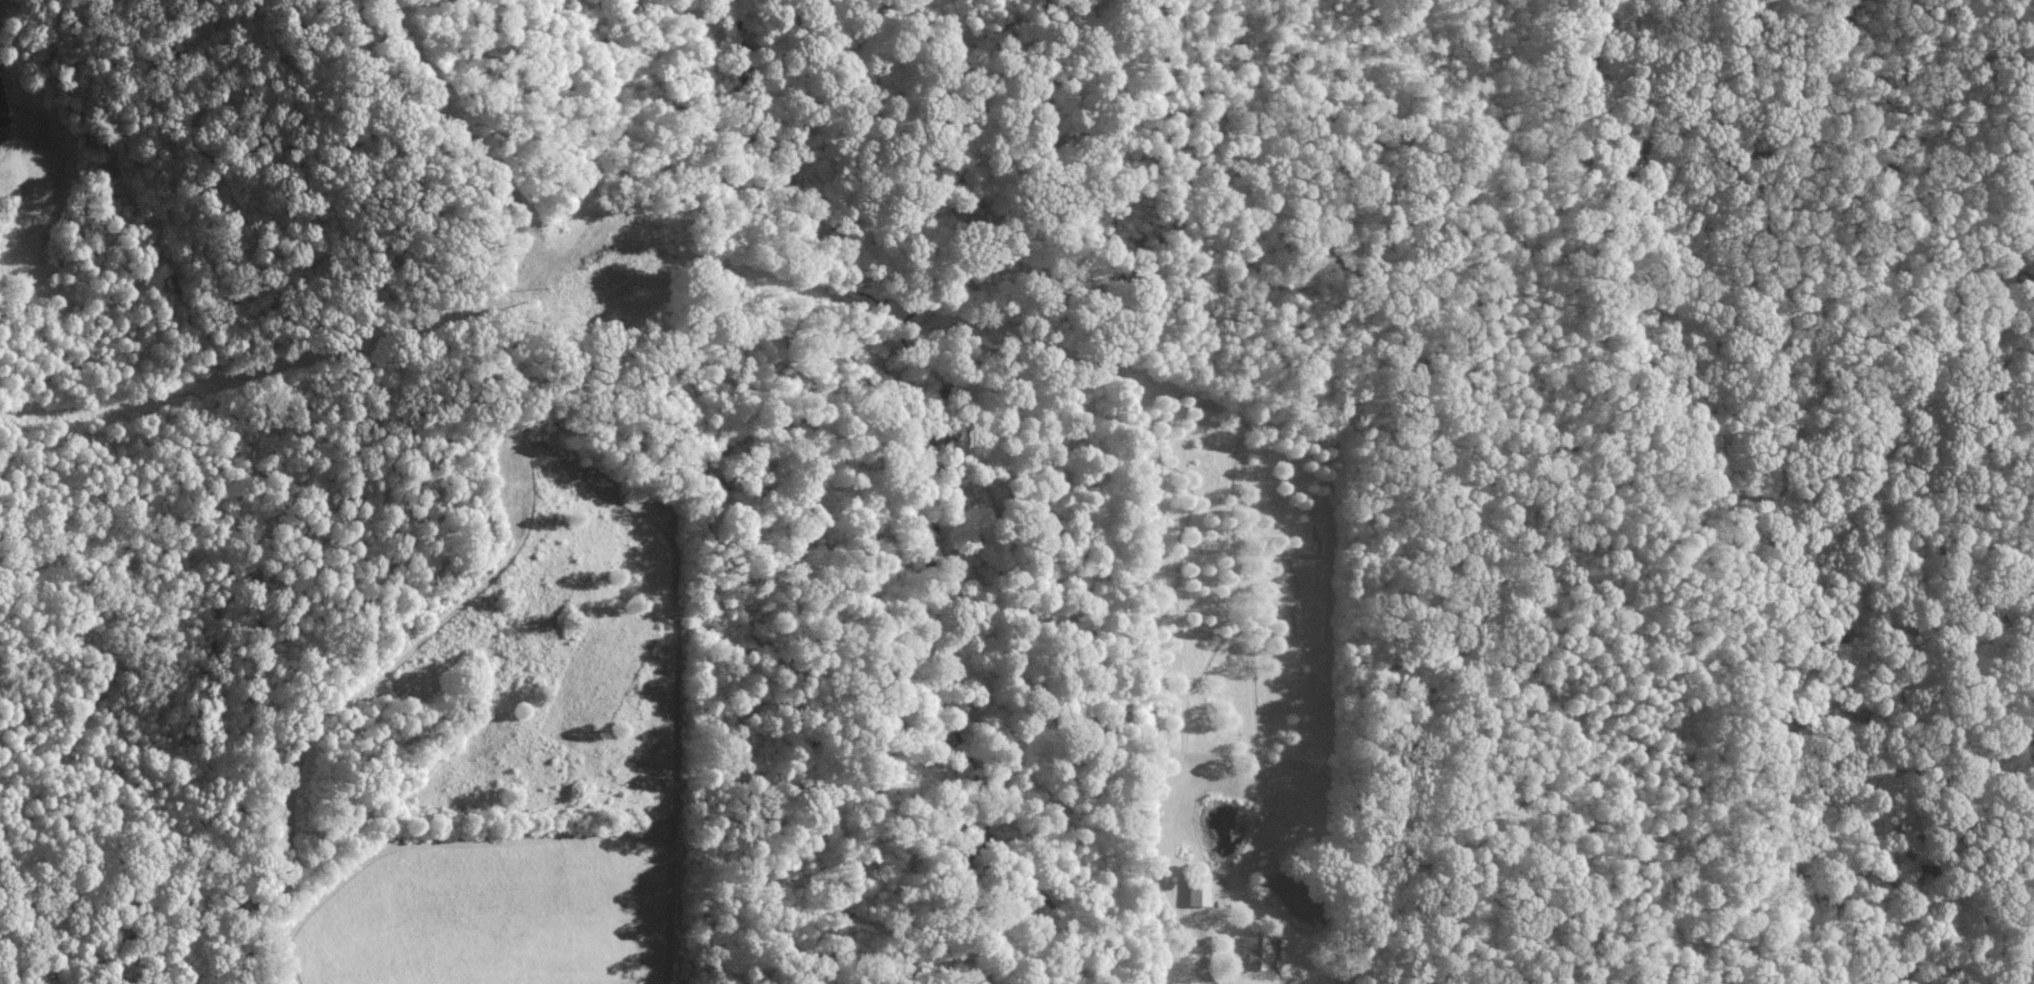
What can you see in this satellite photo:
road: (530, 202)
building: (1194, 888)
building: (1261, 957)

